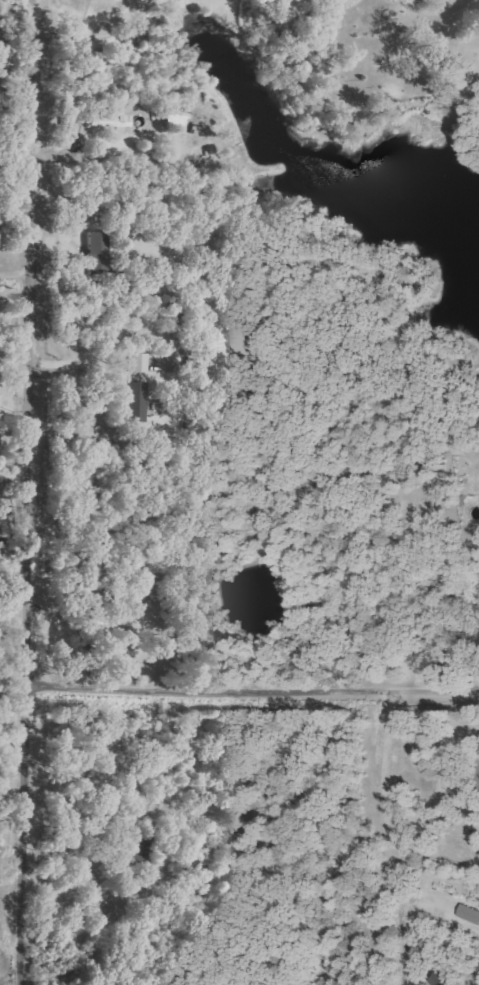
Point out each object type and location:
building: (176, 119)
building: (114, 120)
building: (98, 252)
road: (14, 292)
road: (113, 345)
building: (139, 362)
road: (13, 390)
building: (137, 401)
road: (13, 474)
road: (26, 482)
road: (251, 488)
road: (12, 595)
road: (11, 692)
road: (251, 696)
road: (478, 761)
road: (385, 824)
road: (21, 975)
building: (442, 979)

